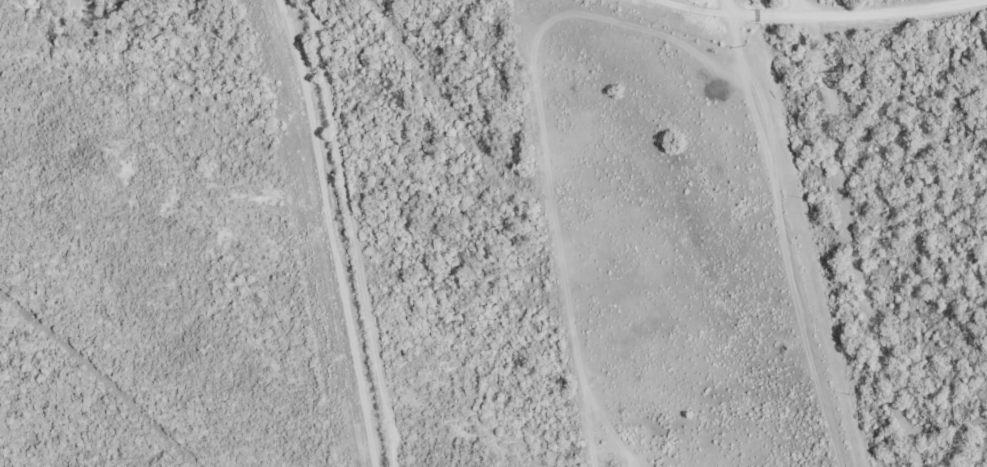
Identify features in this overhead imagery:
road: (831, 21)
road: (784, 239)

